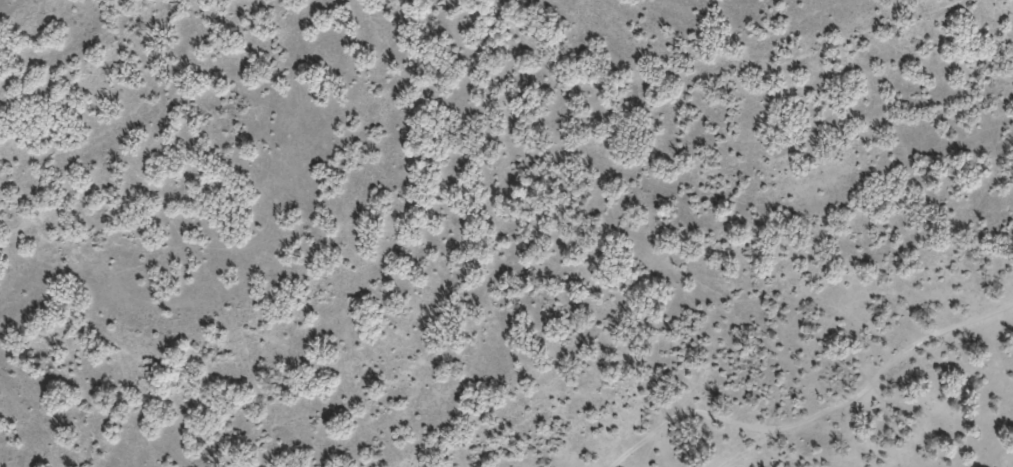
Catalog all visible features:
road: (826, 342)

